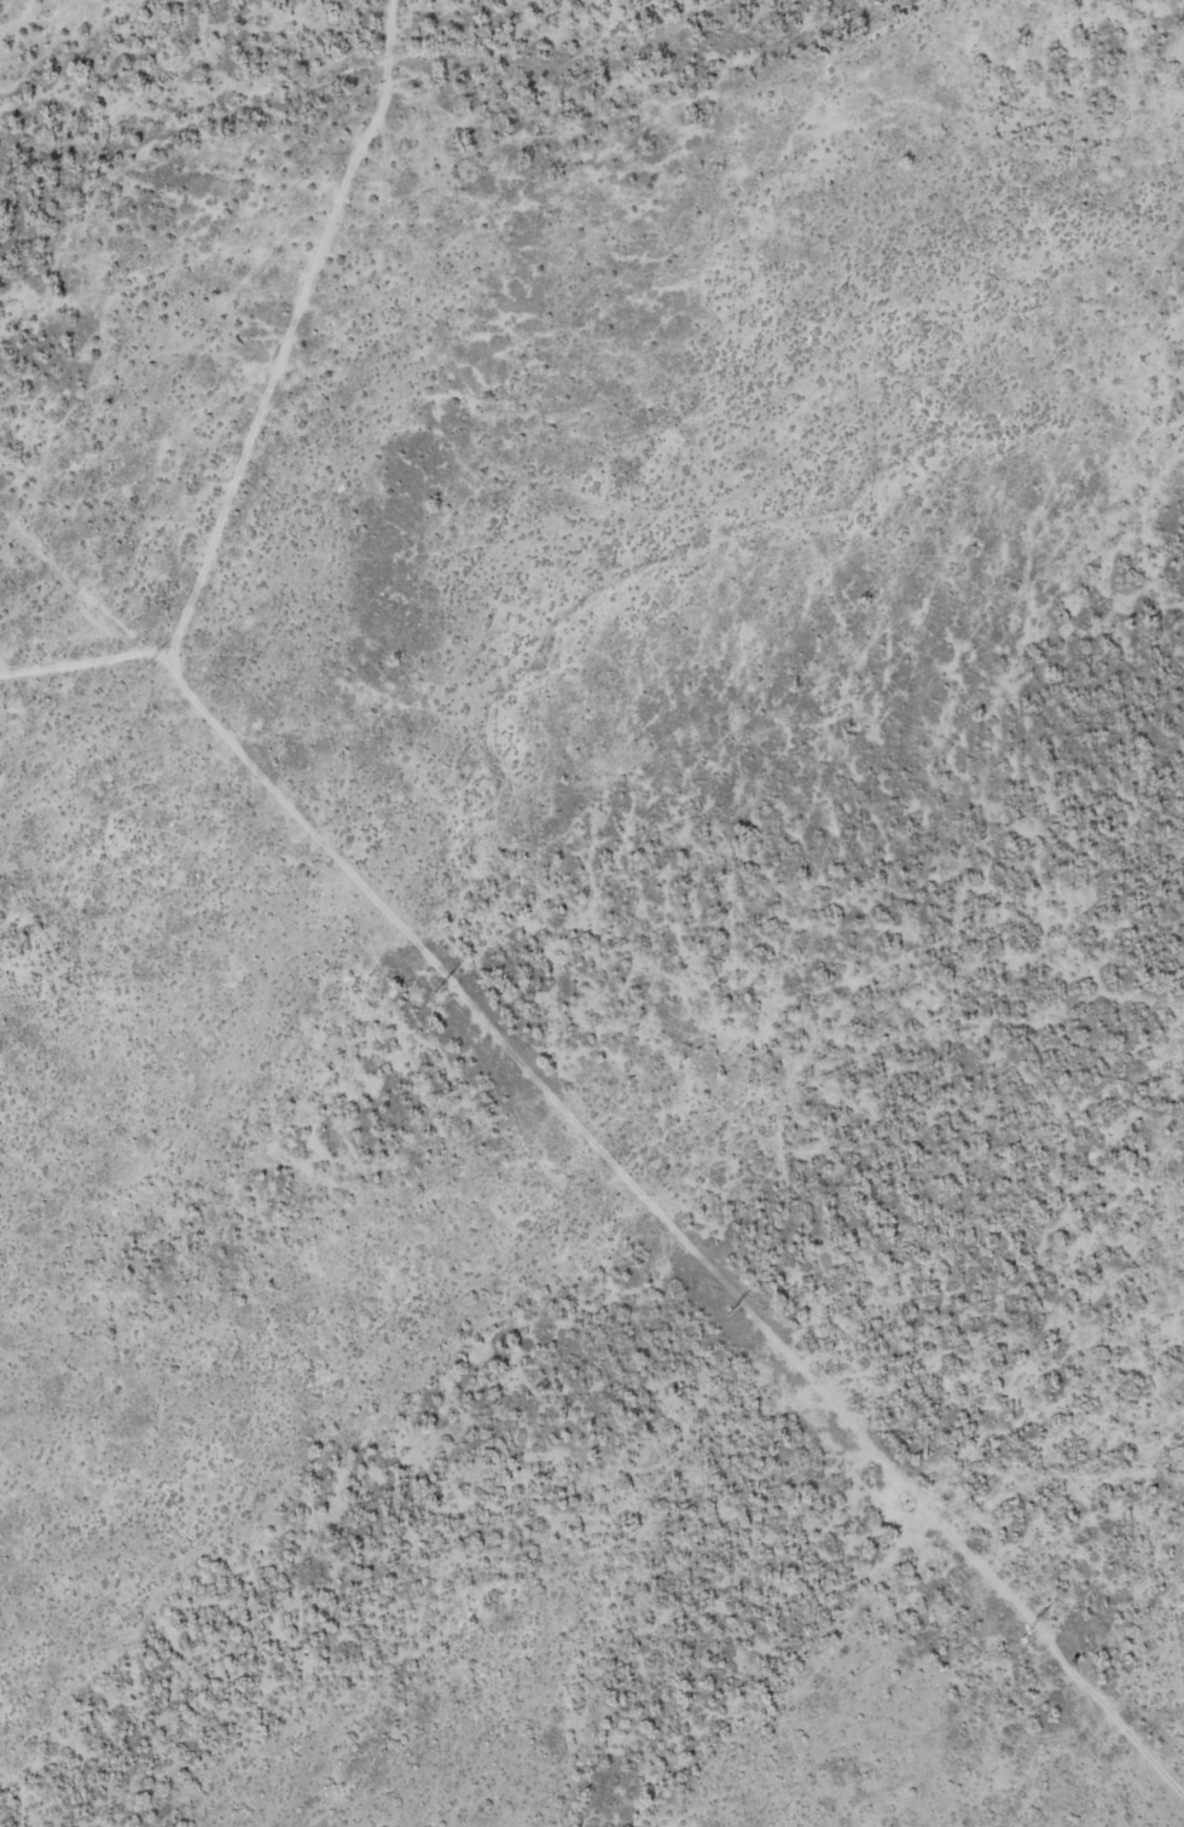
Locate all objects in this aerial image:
road: (639, 369)
road: (92, 659)
power tower: (143, 667)
road: (437, 965)
power tower: (435, 990)
power tower: (729, 1311)
power tower: (1025, 1635)

